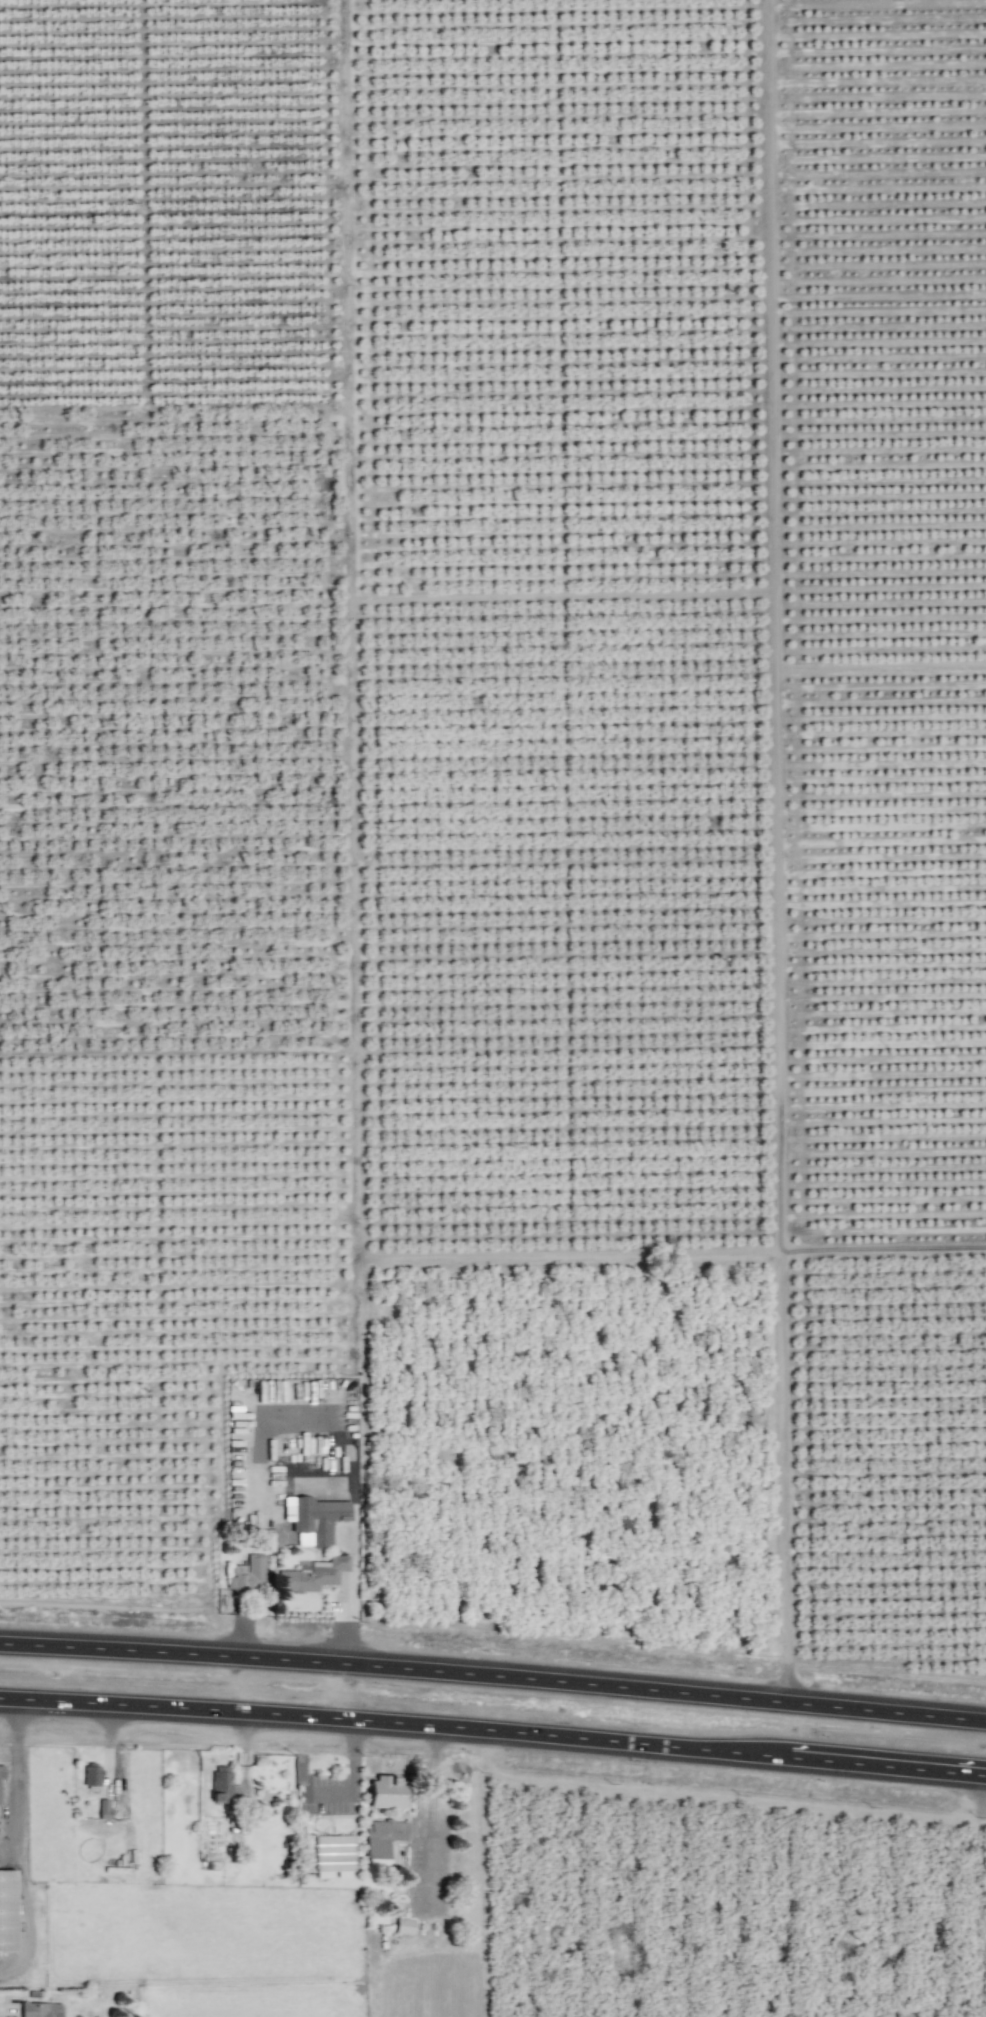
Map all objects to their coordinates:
crop: (511, 954)
road: (352, 1461)
building: (314, 1519)
building: (247, 1576)
building: (312, 1576)
road: (176, 1655)
road: (669, 1692)
road: (493, 1731)
building: (1, 1772)
building: (91, 1776)
road: (16, 1778)
building: (223, 1786)
building: (387, 1792)
building: (103, 1809)
building: (382, 1837)
building: (333, 1854)
road: (979, 1895)
building: (7, 1911)
road: (27, 1915)
building: (404, 1926)
building: (41, 2010)

